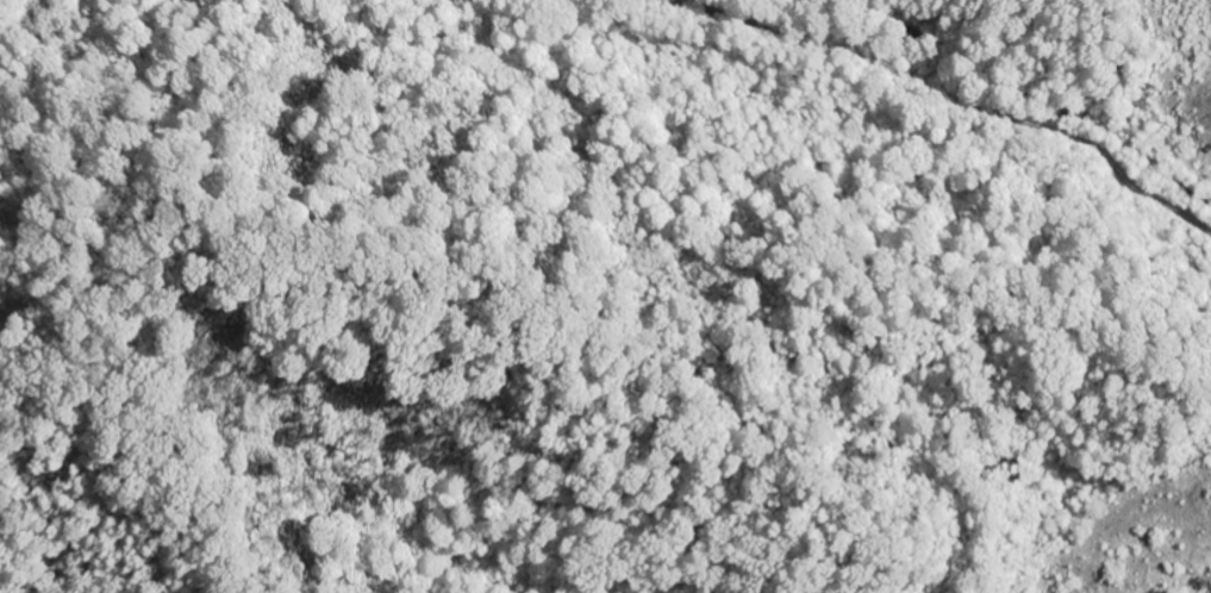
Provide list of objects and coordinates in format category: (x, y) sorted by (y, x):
quarry: (1181, 569)

